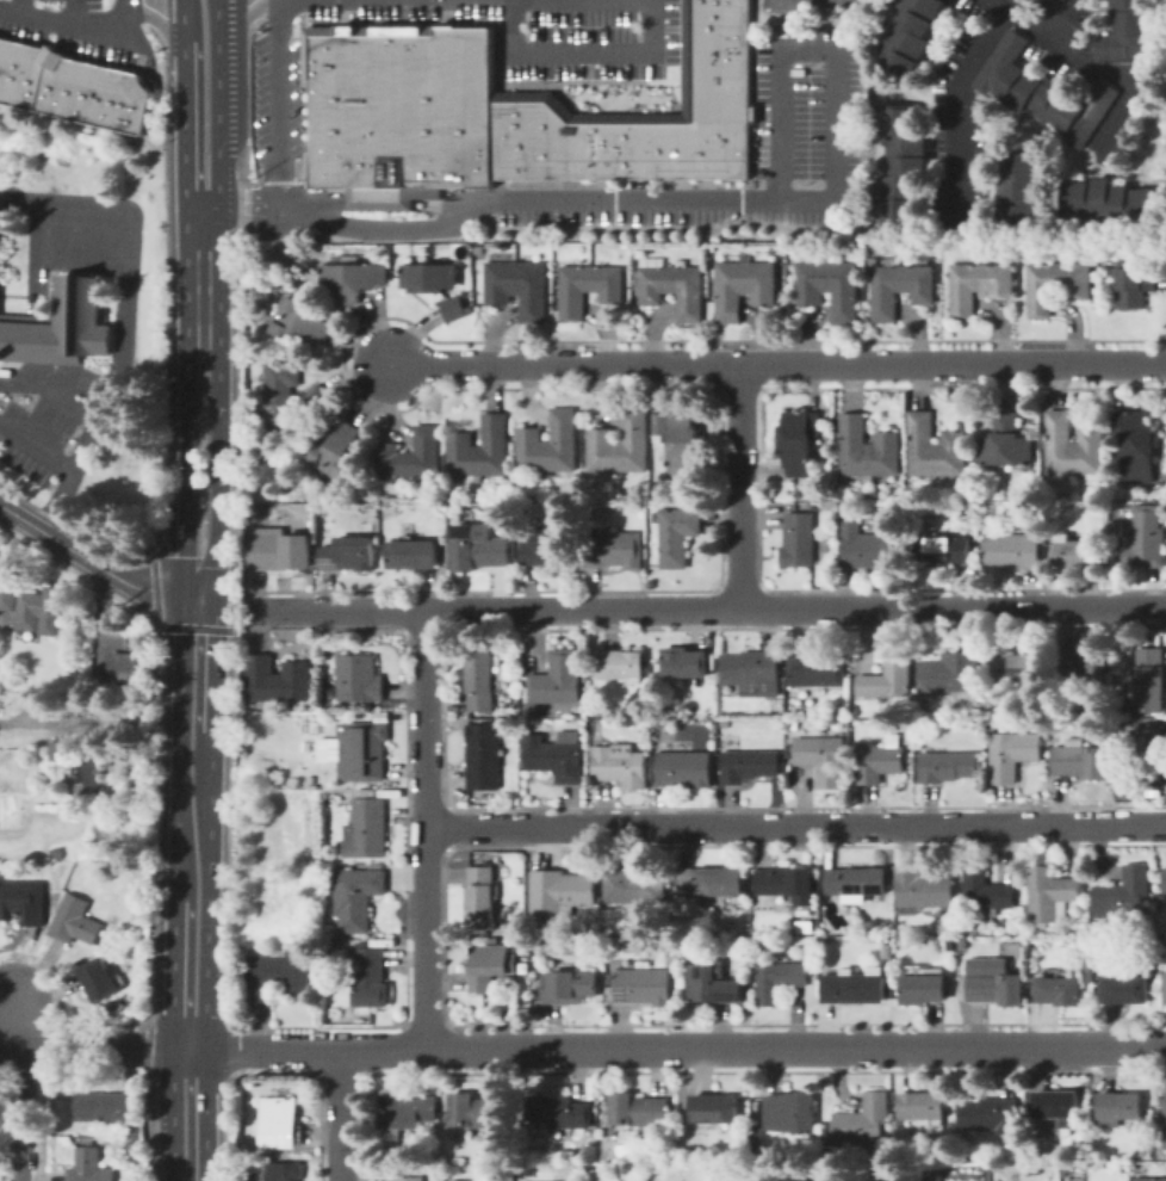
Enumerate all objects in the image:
building: (719, 1)
building: (1017, 1)
road: (21, 7)
road: (75, 13)
building: (717, 16)
road: (238, 18)
road: (181, 19)
road: (1058, 20)
road: (160, 23)
road: (75, 25)
parking lot: (81, 27)
building: (1130, 33)
building: (912, 35)
building: (1, 44)
building: (717, 44)
road: (584, 54)
road: (232, 55)
road: (1089, 64)
building: (13, 70)
building: (717, 73)
building: (35, 78)
road: (216, 79)
building: (54, 82)
building: (68, 88)
building: (79, 89)
building: (1042, 92)
building: (91, 93)
building: (122, 101)
road: (278, 105)
building: (720, 105)
building: (401, 112)
road: (960, 112)
parking lot: (279, 113)
road: (182, 124)
building: (533, 136)
building: (589, 147)
building: (616, 147)
building: (643, 147)
building: (670, 148)
building: (694, 149)
building: (739, 152)
building: (717, 153)
building: (903, 165)
road: (211, 183)
building: (1021, 190)
road: (681, 202)
building: (1111, 202)
road: (130, 234)
road: (83, 247)
building: (478, 251)
road: (36, 258)
building: (1133, 265)
road: (200, 277)
building: (416, 277)
building: (444, 277)
building: (365, 280)
building: (998, 280)
building: (1075, 280)
building: (335, 282)
building: (813, 282)
building: (501, 283)
building: (762, 283)
building: (920, 283)
building: (608, 284)
building: (655, 284)
building: (965, 286)
building: (1042, 289)
building: (844, 290)
building: (532, 291)
building: (575, 291)
building: (731, 291)
building: (887, 291)
building: (1133, 291)
building: (688, 292)
building: (455, 309)
building: (302, 322)
building: (60, 328)
road: (773, 364)
road: (113, 382)
building: (280, 392)
building: (316, 398)
road: (69, 403)
building: (660, 423)
building: (801, 425)
building: (563, 440)
parking lot: (45, 441)
building: (633, 441)
building: (996, 441)
building: (1018, 441)
building: (684, 443)
building: (1060, 443)
building: (855, 444)
building: (922, 444)
building: (1136, 444)
building: (492, 445)
road: (37, 449)
building: (531, 450)
building: (336, 451)
building: (601, 451)
building: (1091, 451)
building: (886, 452)
building: (954, 452)
building: (424, 455)
building: (461, 455)
building: (796, 457)
building: (391, 460)
road: (185, 471)
road: (217, 471)
road: (739, 487)
building: (864, 494)
building: (691, 503)
building: (811, 506)
building: (253, 507)
road: (56, 509)
building: (846, 509)
building: (677, 534)
building: (800, 539)
building: (1145, 539)
building: (550, 546)
building: (870, 548)
building: (479, 549)
building: (614, 549)
building: (1015, 549)
building: (941, 550)
building: (280, 552)
building: (1078, 552)
building: (349, 554)
building: (413, 555)
road: (94, 564)
traffic signals: (200, 595)
road: (227, 602)
building: (33, 607)
road: (709, 610)
road: (197, 661)
building: (686, 663)
building: (1081, 664)
building: (622, 666)
building: (751, 668)
building: (1018, 668)
building: (815, 669)
building: (130, 670)
building: (951, 673)
building: (888, 676)
building: (360, 678)
building: (277, 680)
building: (482, 680)
building: (1151, 680)
building: (1106, 682)
building: (557, 684)
building: (700, 684)
road: (97, 723)
building: (658, 724)
building: (790, 724)
building: (590, 736)
building: (721, 740)
building: (63, 750)
building: (362, 750)
building: (1011, 754)
building: (1151, 754)
building: (484, 756)
building: (556, 756)
building: (824, 758)
building: (1081, 760)
building: (881, 761)
building: (944, 763)
building: (621, 765)
building: (749, 766)
building: (686, 768)
building: (91, 777)
building: (519, 781)
road: (192, 817)
road: (794, 823)
building: (366, 829)
road: (423, 829)
building: (111, 835)
building: (56, 854)
building: (68, 865)
building: (1165, 867)
building: (711, 882)
building: (856, 883)
building: (784, 884)
building: (634, 886)
building: (922, 891)
building: (986, 891)
building: (560, 892)
building: (1049, 895)
building: (1123, 895)
building: (356, 896)
building: (482, 897)
building: (23, 902)
building: (75, 921)
building: (967, 941)
building: (708, 944)
building: (759, 944)
building: (885, 951)
building: (675, 959)
building: (490, 965)
building: (1090, 972)
building: (1154, 972)
building: (279, 976)
road: (188, 977)
building: (370, 977)
building: (100, 979)
building: (779, 981)
building: (712, 982)
building: (996, 982)
building: (570, 985)
building: (644, 987)
building: (855, 987)
building: (923, 989)
building: (1125, 989)
building: (1060, 990)
road: (93, 1045)
road: (676, 1049)
road: (21, 1089)
building: (107, 1106)
building: (1056, 1106)
building: (923, 1107)
building: (715, 1108)
building: (1117, 1108)
building: (639, 1109)
building: (479, 1111)
building: (559, 1112)
building: (790, 1112)
building: (404, 1113)
road: (187, 1114)
road: (337, 1115)
building: (992, 1115)
building: (863, 1120)
building: (280, 1123)
building: (1165, 1123)
building: (139, 1131)
building: (591, 1152)
building: (1042, 1152)
building: (712, 1155)
building: (89, 1165)
building: (284, 1170)
building: (407, 1179)
building: (1151, 1179)
building: (455, 1180)
building: (726, 1180)
building: (812, 1180)
building: (934, 1180)

